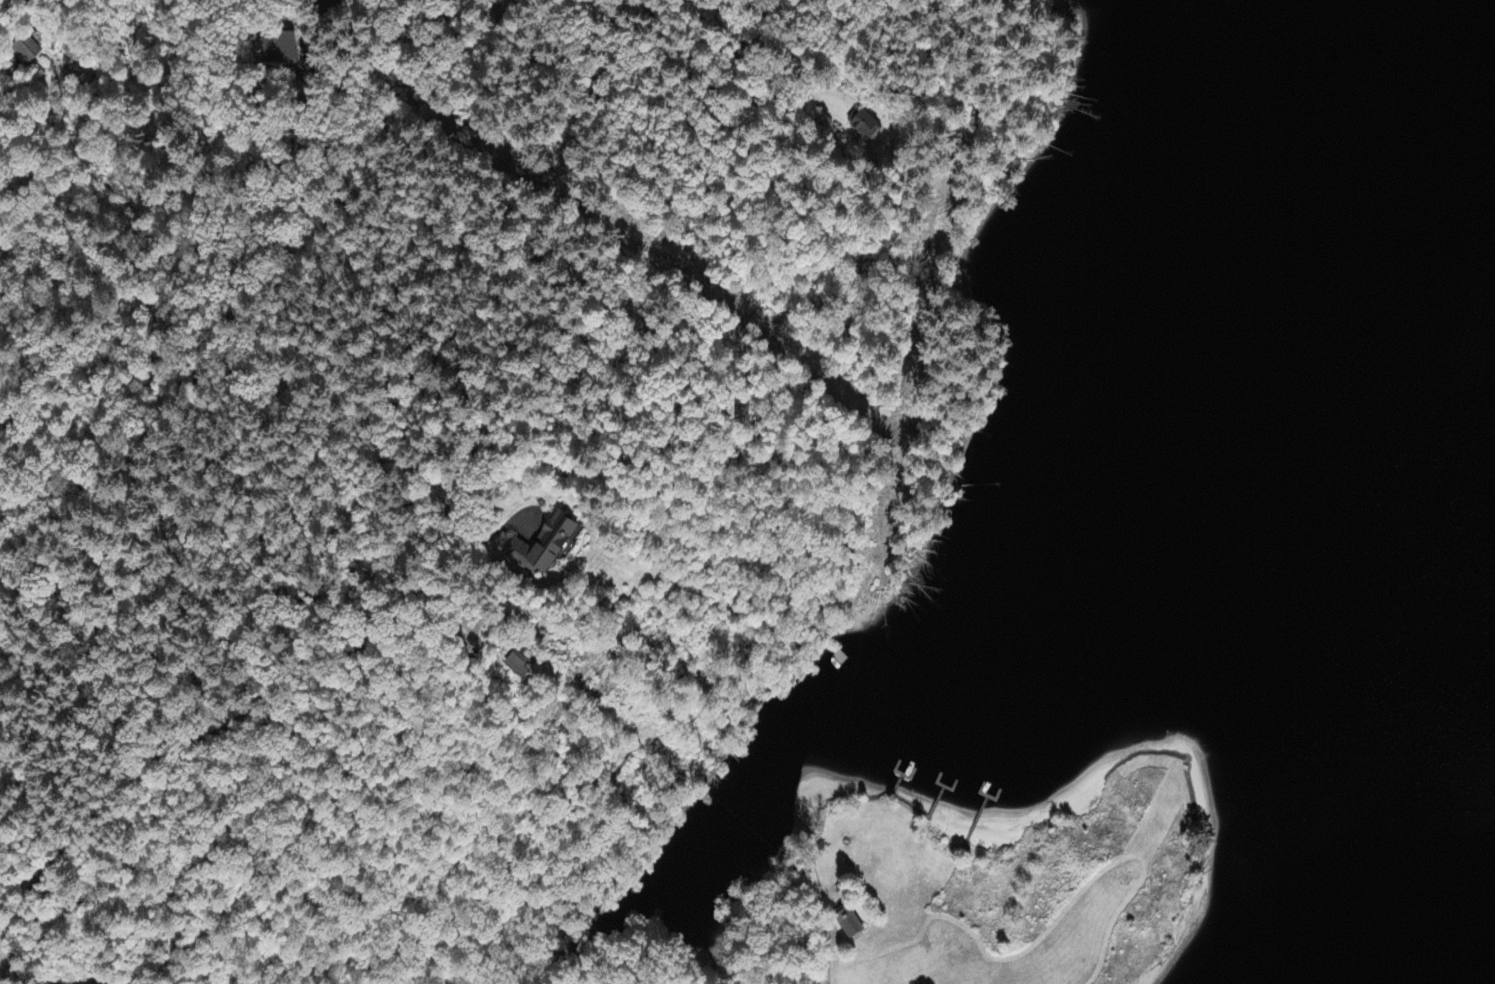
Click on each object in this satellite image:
road: (717, 48)
building: (26, 49)
building: (279, 52)
building: (863, 124)
road: (569, 177)
road: (340, 446)
building: (544, 546)
river: (1093, 586)
road: (363, 641)
building: (526, 666)
road: (259, 696)
building: (850, 925)
road: (23, 981)
road: (88, 982)

